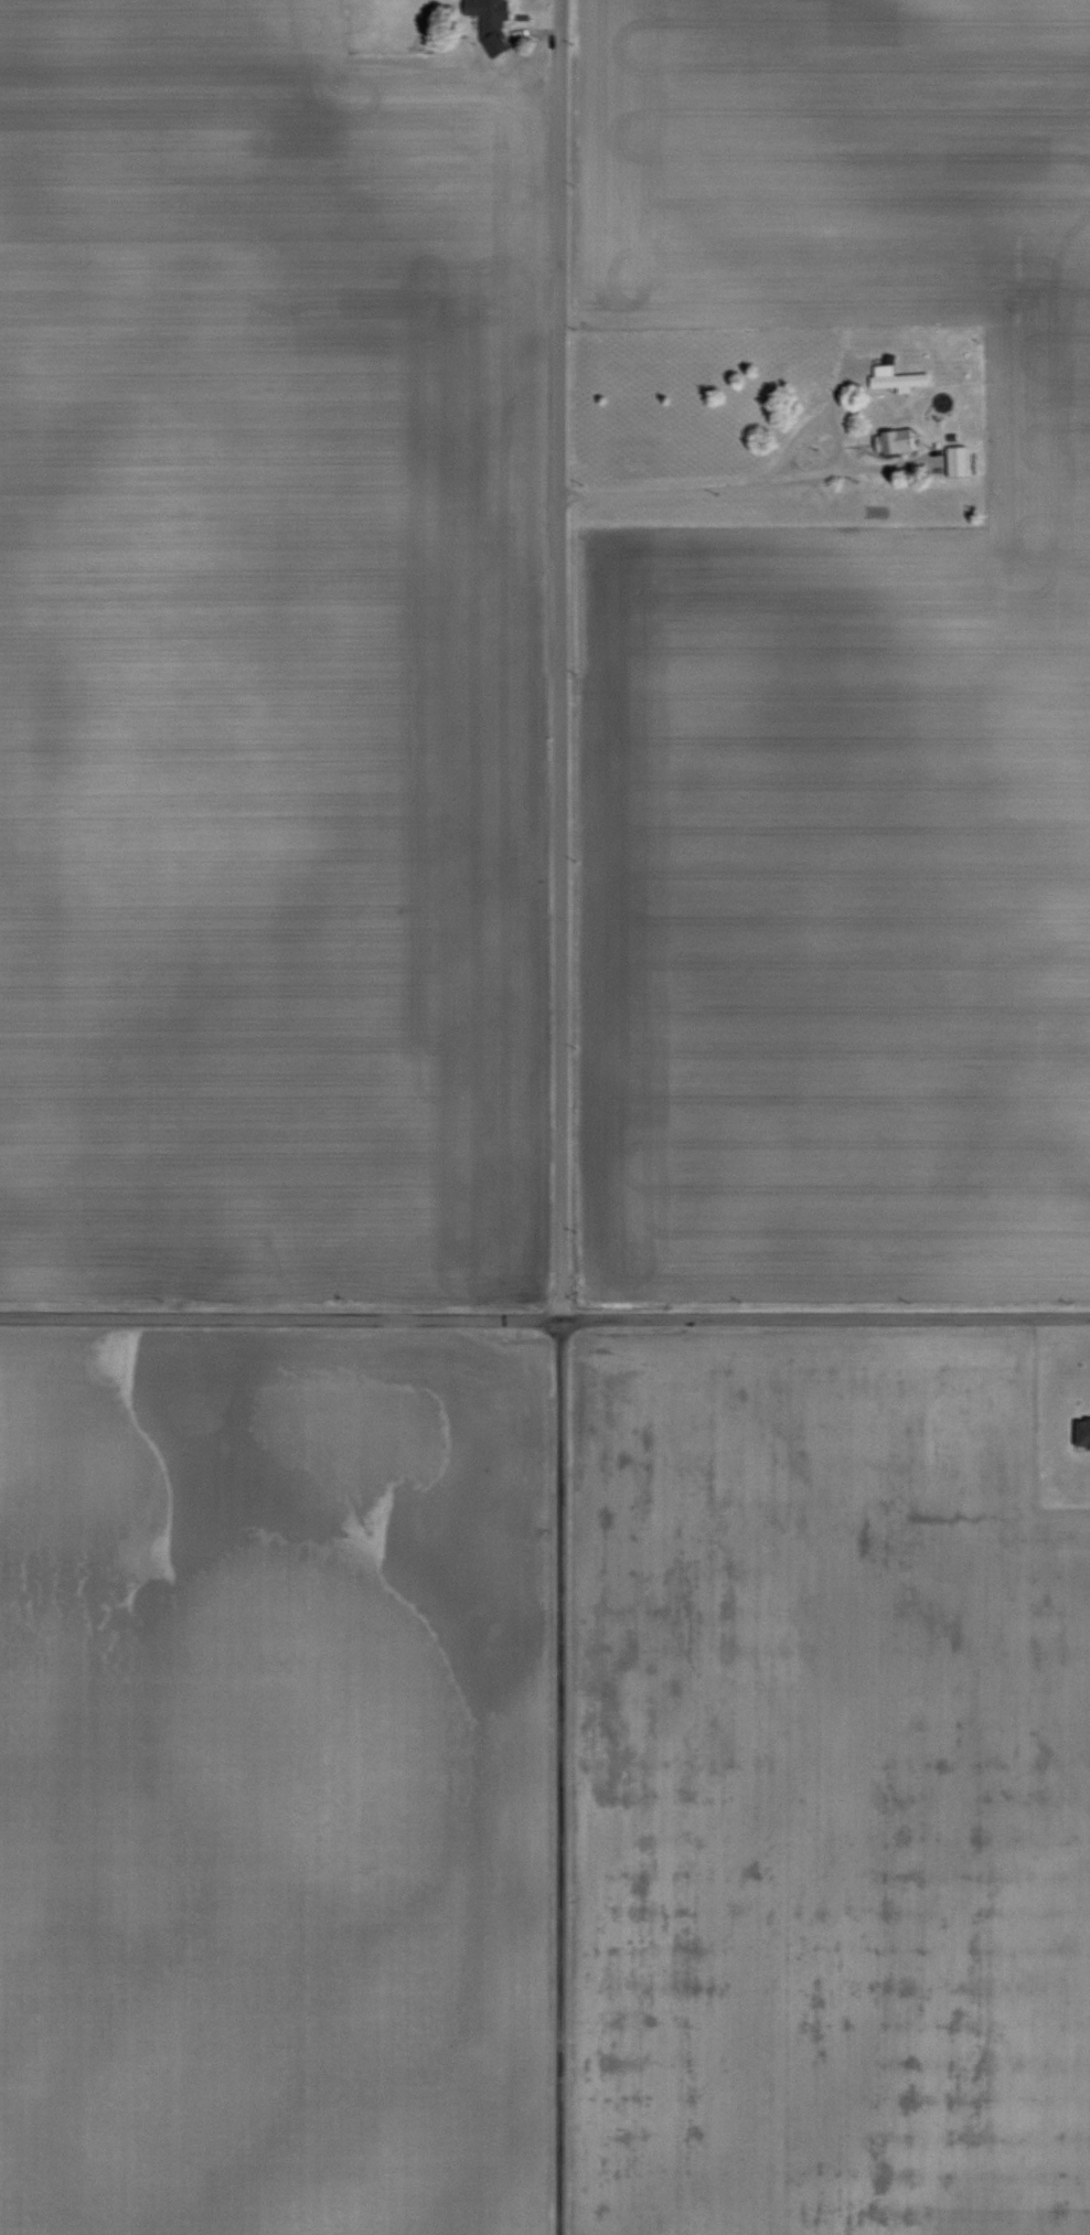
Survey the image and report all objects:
road: (829, 397)
road: (823, 468)
road: (728, 481)
road: (554, 1116)
road: (544, 1316)

